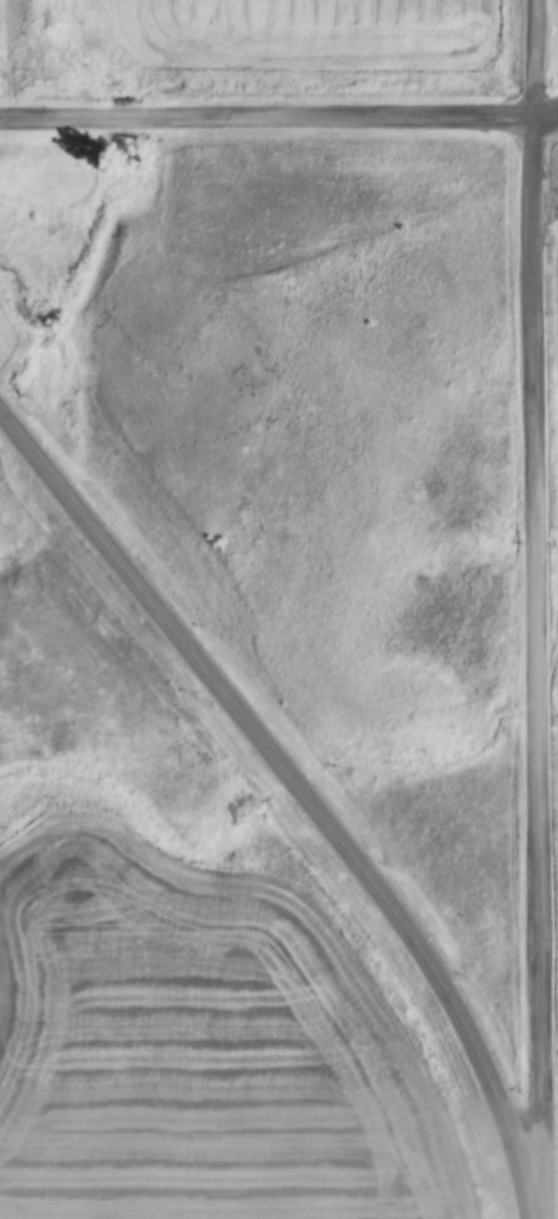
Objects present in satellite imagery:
road: (278, 126)
road: (547, 608)
road: (305, 792)

